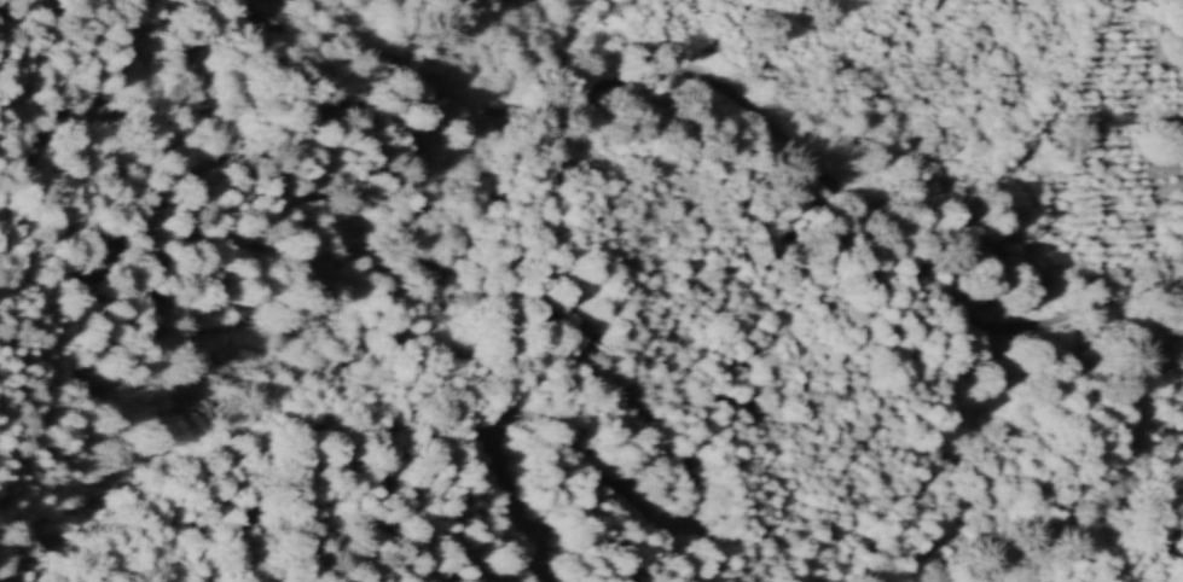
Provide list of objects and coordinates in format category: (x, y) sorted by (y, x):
road: (116, 25)
road: (775, 115)

